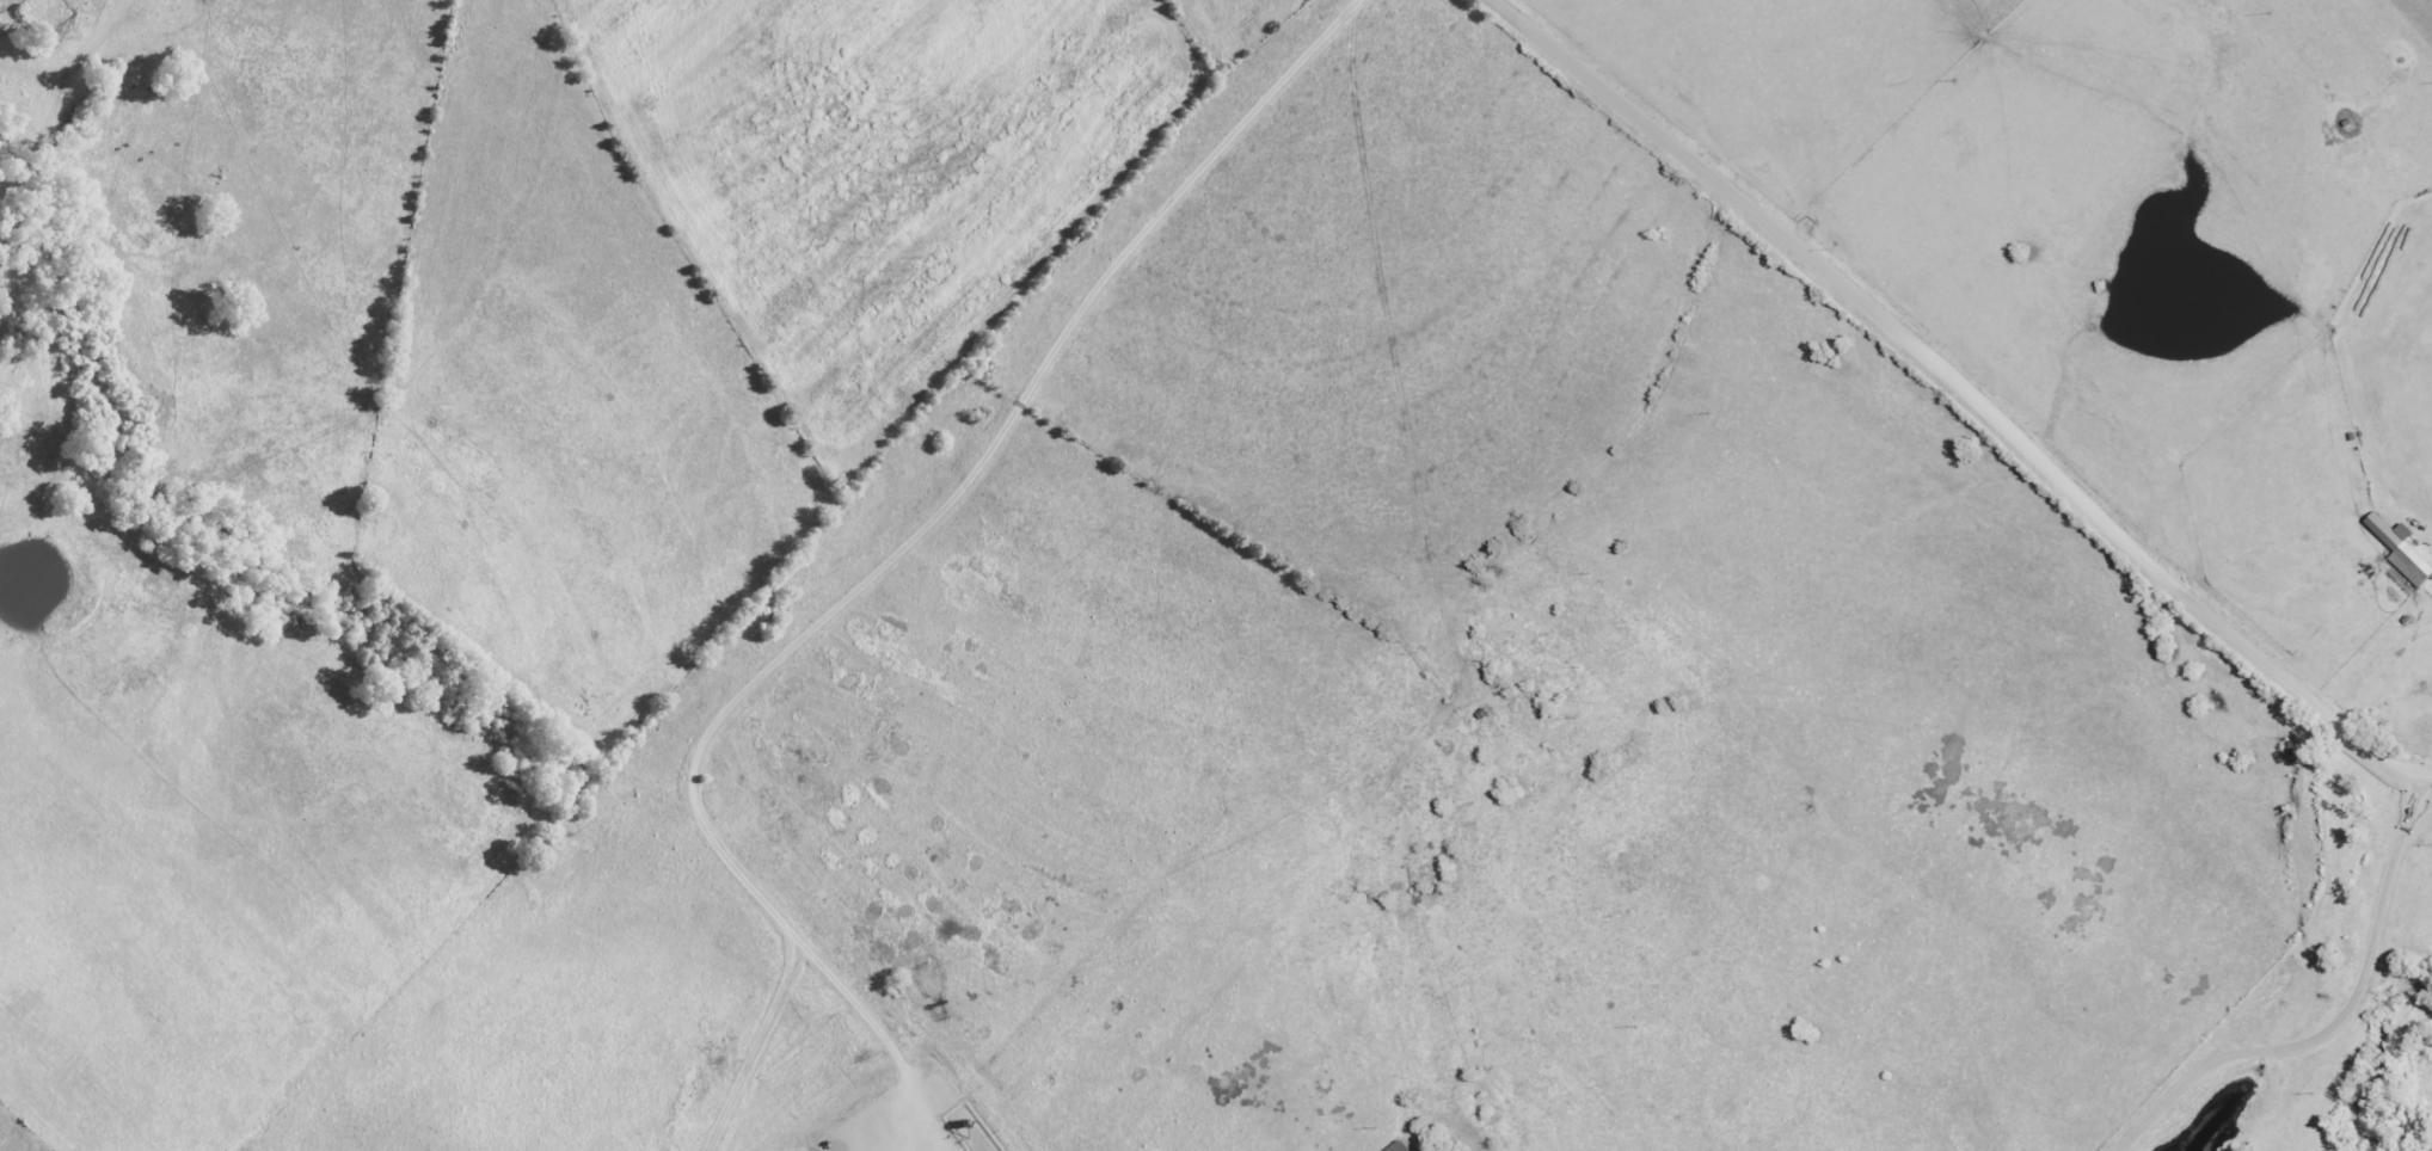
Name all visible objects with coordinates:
road: (1967, 388)
building: (2397, 550)
road: (1382, 737)
road: (2351, 1024)
building: (1404, 1147)

